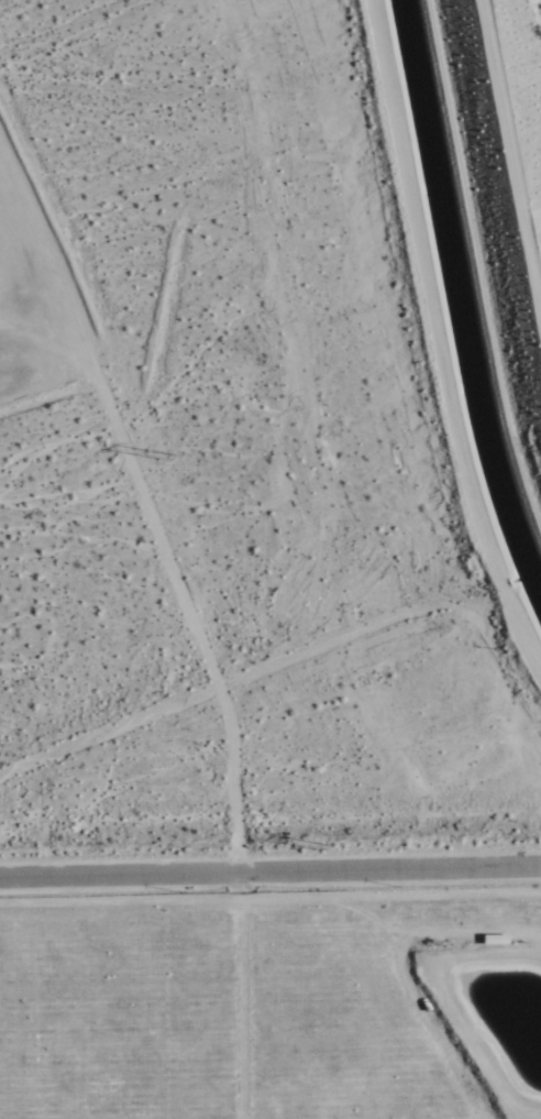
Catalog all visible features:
parking lot: (25, 263)
road: (439, 336)
road: (40, 350)
power tower: (166, 456)
road: (167, 558)
road: (238, 680)
power tower: (321, 844)
road: (270, 873)

